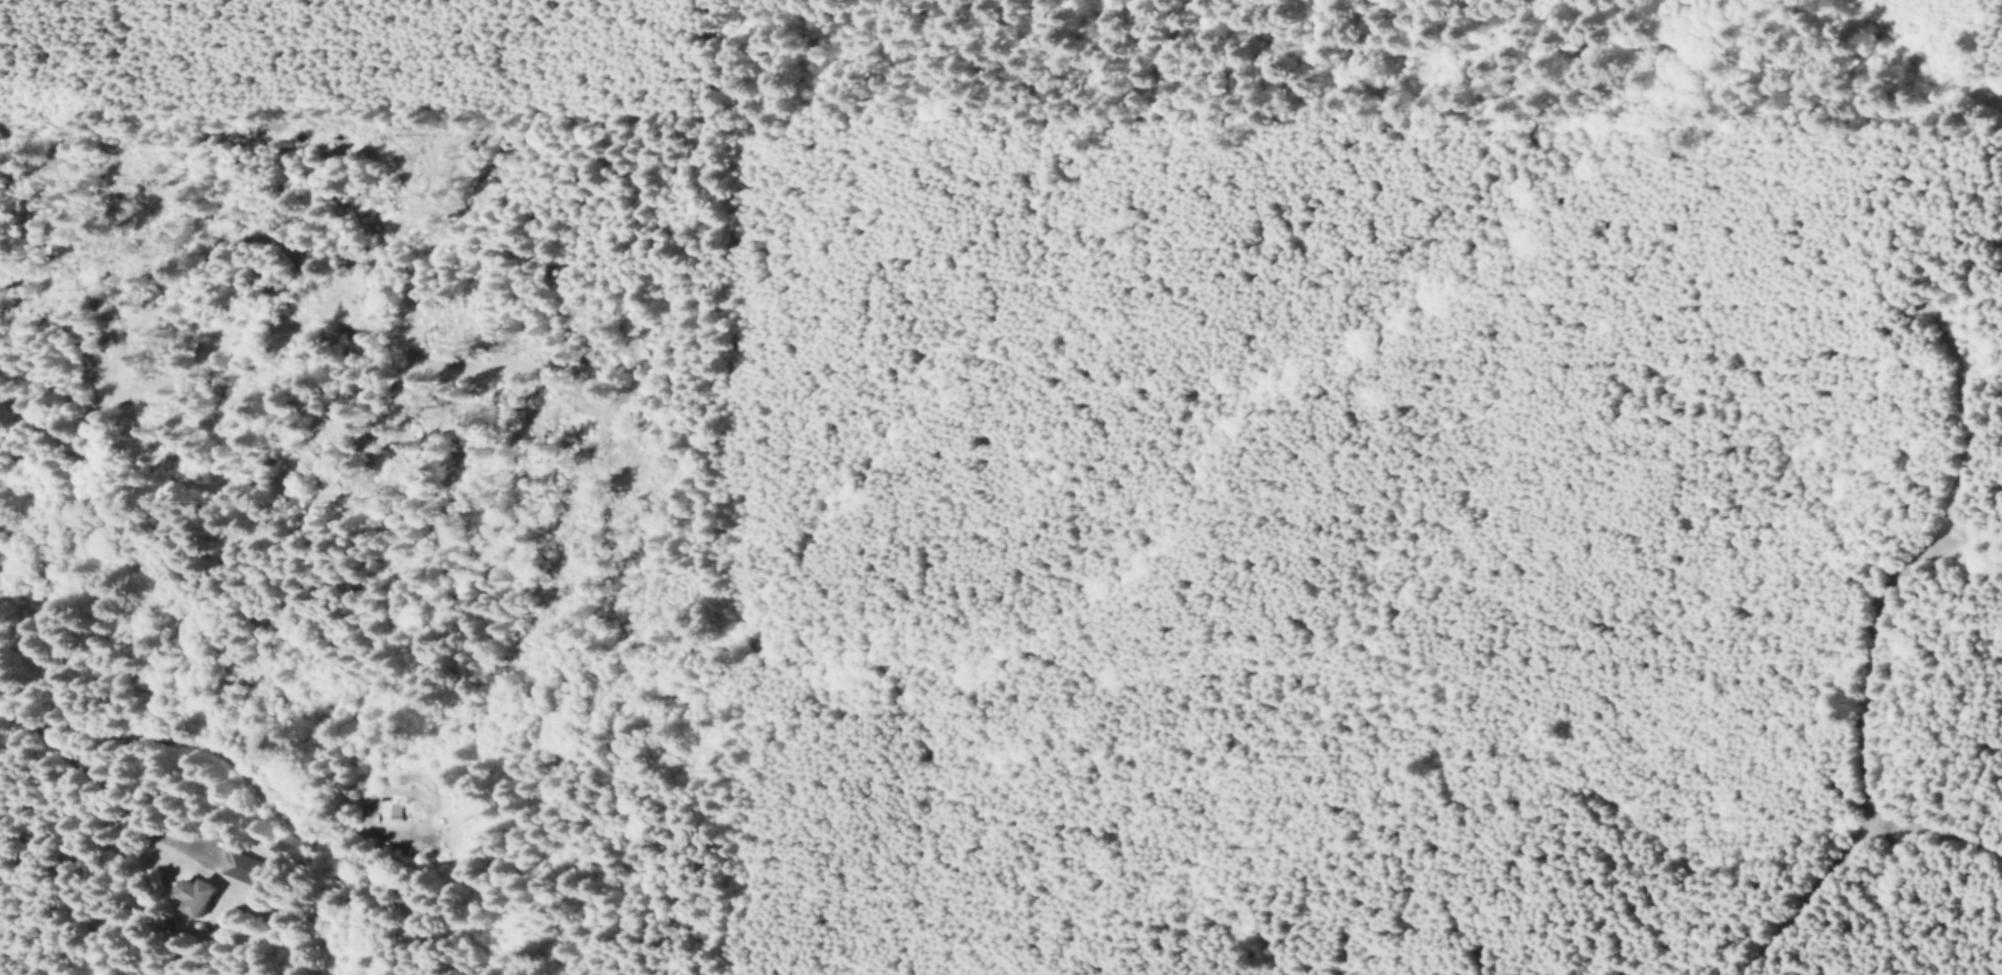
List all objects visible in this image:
building: (392, 812)
building: (239, 866)
building: (192, 895)

